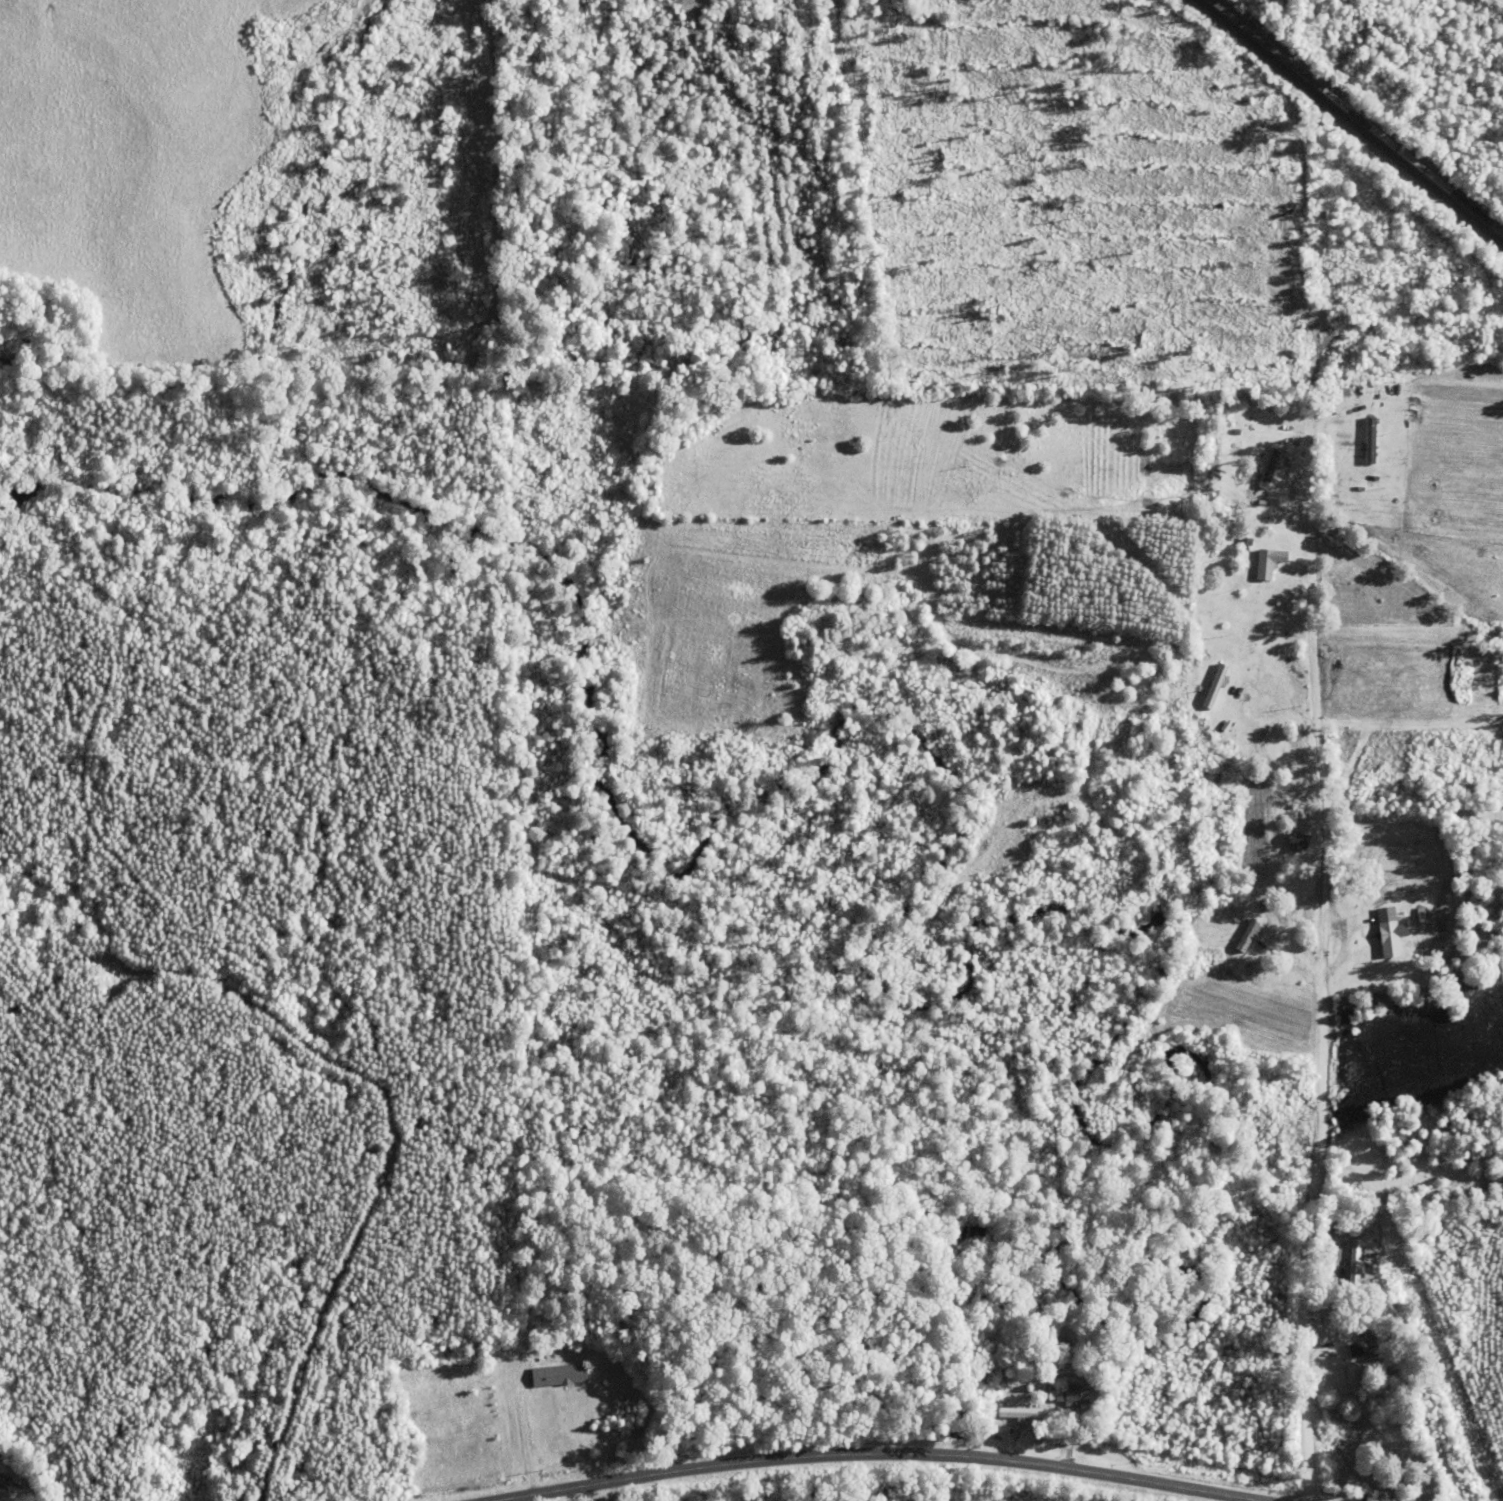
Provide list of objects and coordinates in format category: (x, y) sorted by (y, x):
road: (581, 32)
railway: (1318, 143)
road: (1322, 994)
road: (876, 1451)

